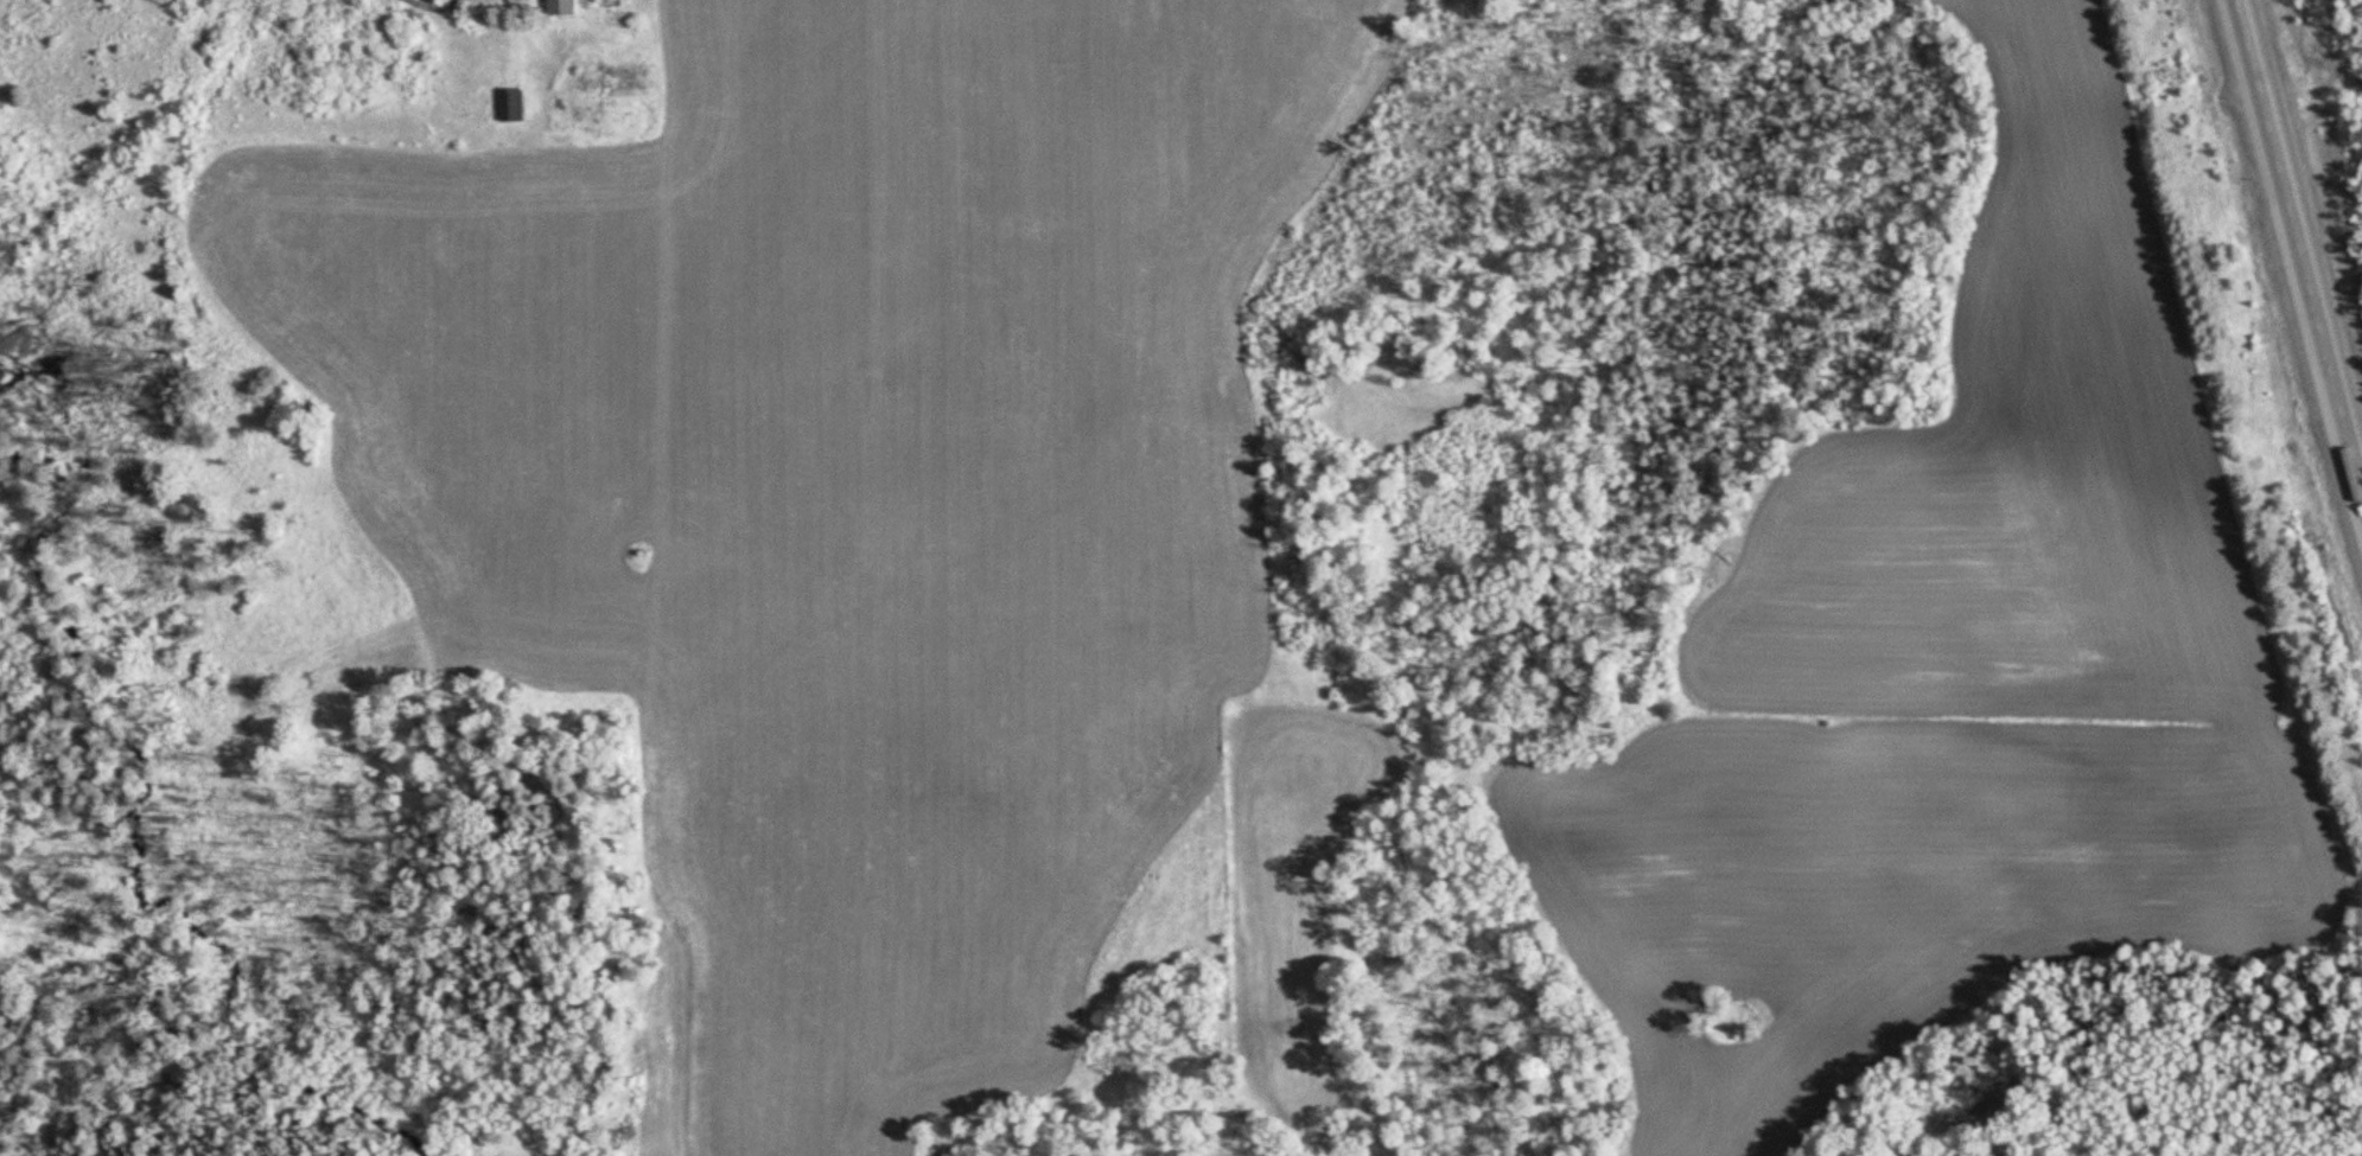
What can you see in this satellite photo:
building: (516, 104)
road: (2301, 231)

